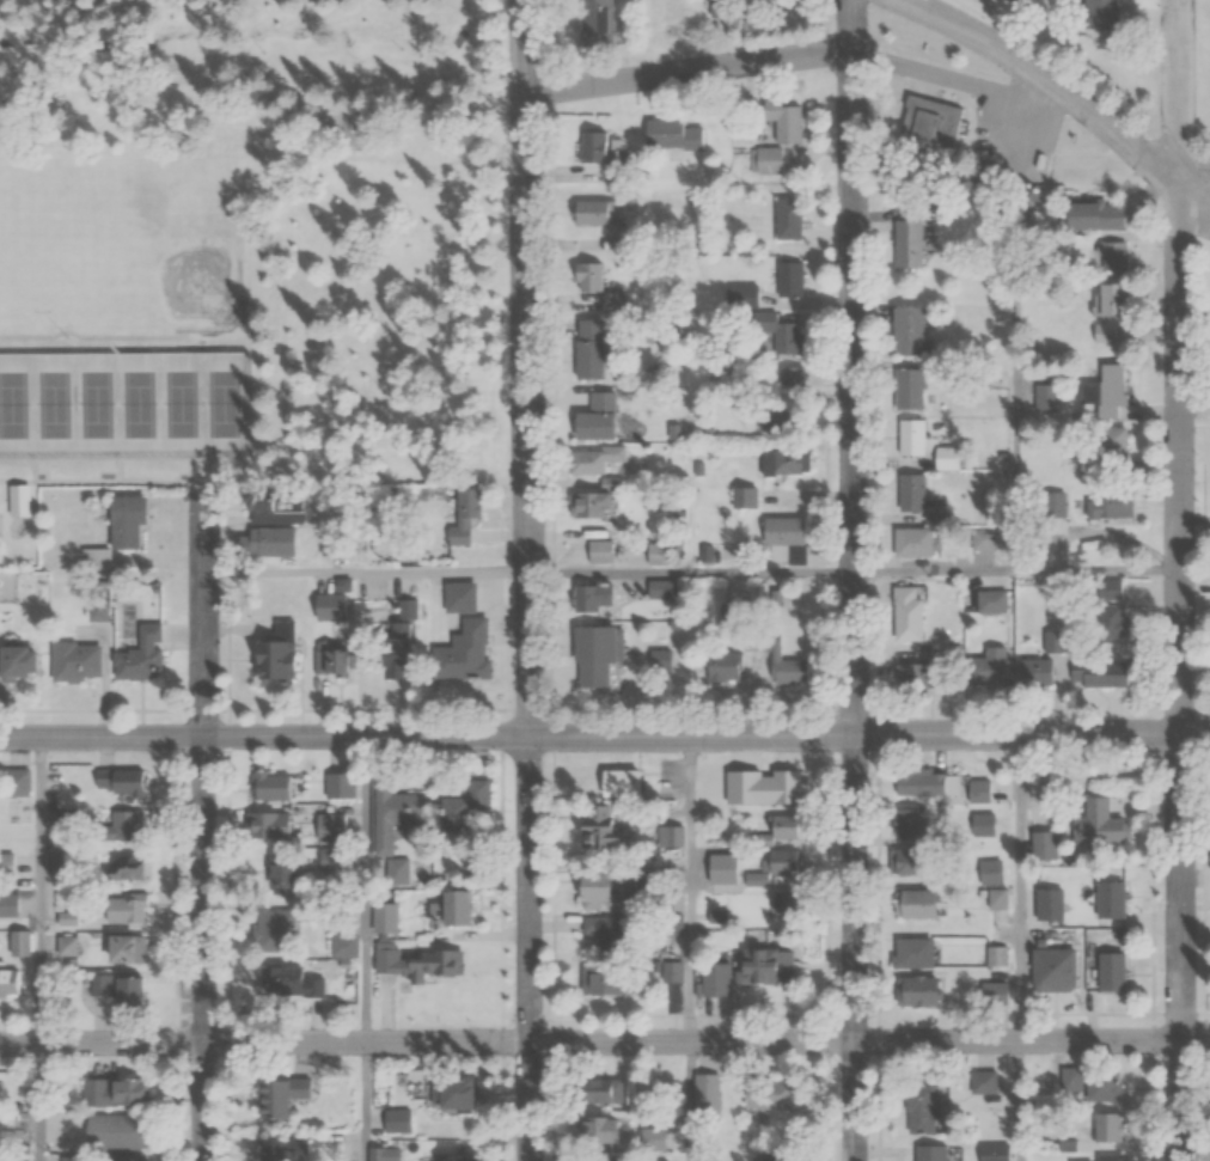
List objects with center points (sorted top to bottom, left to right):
building: (1099, 14)
building: (595, 23)
road: (1009, 25)
road: (689, 71)
road: (1067, 92)
building: (781, 121)
building: (671, 135)
road: (1035, 143)
building: (923, 147)
building: (593, 148)
building: (765, 161)
road: (1194, 179)
building: (593, 212)
building: (1090, 216)
building: (787, 220)
park: (167, 244)
building: (906, 245)
park: (251, 246)
park: (36, 249)
building: (1110, 256)
building: (586, 277)
building: (788, 279)
building: (1107, 300)
building: (587, 329)
building: (904, 330)
building: (1104, 334)
building: (784, 340)
building: (586, 360)
building: (792, 384)
road: (1017, 386)
building: (906, 389)
building: (1105, 392)
building: (1047, 399)
park: (124, 404)
building: (594, 418)
building: (909, 436)
building: (1112, 447)
building: (591, 460)
building: (784, 462)
building: (909, 493)
building: (16, 500)
building: (1053, 505)
building: (1108, 505)
building: (587, 506)
building: (463, 518)
building: (123, 521)
building: (783, 538)
building: (982, 540)
building: (270, 542)
building: (910, 542)
building: (593, 552)
building: (658, 554)
road: (692, 570)
road: (936, 570)
road: (1099, 570)
road: (366, 572)
road: (530, 580)
road: (855, 580)
road: (1180, 580)
building: (660, 588)
building: (591, 598)
building: (905, 615)
road: (203, 616)
building: (1113, 619)
building: (1052, 642)
building: (391, 650)
building: (276, 653)
building: (463, 653)
building: (140, 655)
building: (328, 655)
building: (592, 656)
building: (77, 661)
building: (24, 664)
building: (783, 664)
building: (722, 667)
building: (985, 667)
building: (1031, 671)
building: (1098, 673)
road: (102, 735)
road: (707, 735)
building: (16, 781)
building: (118, 781)
building: (916, 782)
building: (621, 783)
building: (270, 786)
building: (341, 786)
building: (759, 787)
building: (464, 808)
building: (20, 812)
building: (1094, 814)
building: (909, 823)
building: (984, 824)
building: (120, 825)
building: (267, 825)
building: (597, 826)
building: (778, 829)
building: (668, 835)
building: (381, 841)
building: (1045, 844)
building: (911, 862)
building: (6, 863)
building: (774, 867)
building: (123, 869)
building: (281, 872)
building: (989, 872)
parking lot: (1208, 874)
building: (598, 886)
road: (1019, 887)
road: (366, 888)
road: (690, 888)
road: (41, 890)
building: (996, 898)
building: (1108, 898)
building: (912, 903)
building: (7, 905)
building: (447, 905)
building: (122, 909)
building: (384, 917)
building: (271, 928)
building: (604, 931)
building: (19, 942)
building: (66, 945)
building: (343, 945)
building: (121, 948)
road: (204, 948)
building: (912, 952)
building: (996, 955)
building: (386, 961)
building: (435, 964)
building: (1050, 968)
building: (668, 971)
building: (746, 971)
building: (1108, 971)
building: (600, 979)
building: (288, 982)
building: (118, 989)
building: (915, 991)
road: (102, 1043)
road: (708, 1043)
building: (1084, 1083)
building: (595, 1089)
building: (112, 1092)
building: (450, 1092)
building: (707, 1095)
building: (267, 1099)
building: (782, 1099)
road: (41, 1101)
road: (365, 1101)
road: (690, 1101)
road: (1019, 1101)
building: (918, 1108)
building: (397, 1120)
building: (1105, 1126)
building: (597, 1129)
building: (116, 1130)
building: (650, 1139)
building: (271, 1149)
building: (991, 1151)
building: (927, 1153)
building: (381, 1154)
building: (452, 1156)
building: (1107, 1157)
building: (123, 1159)
building: (603, 1160)

